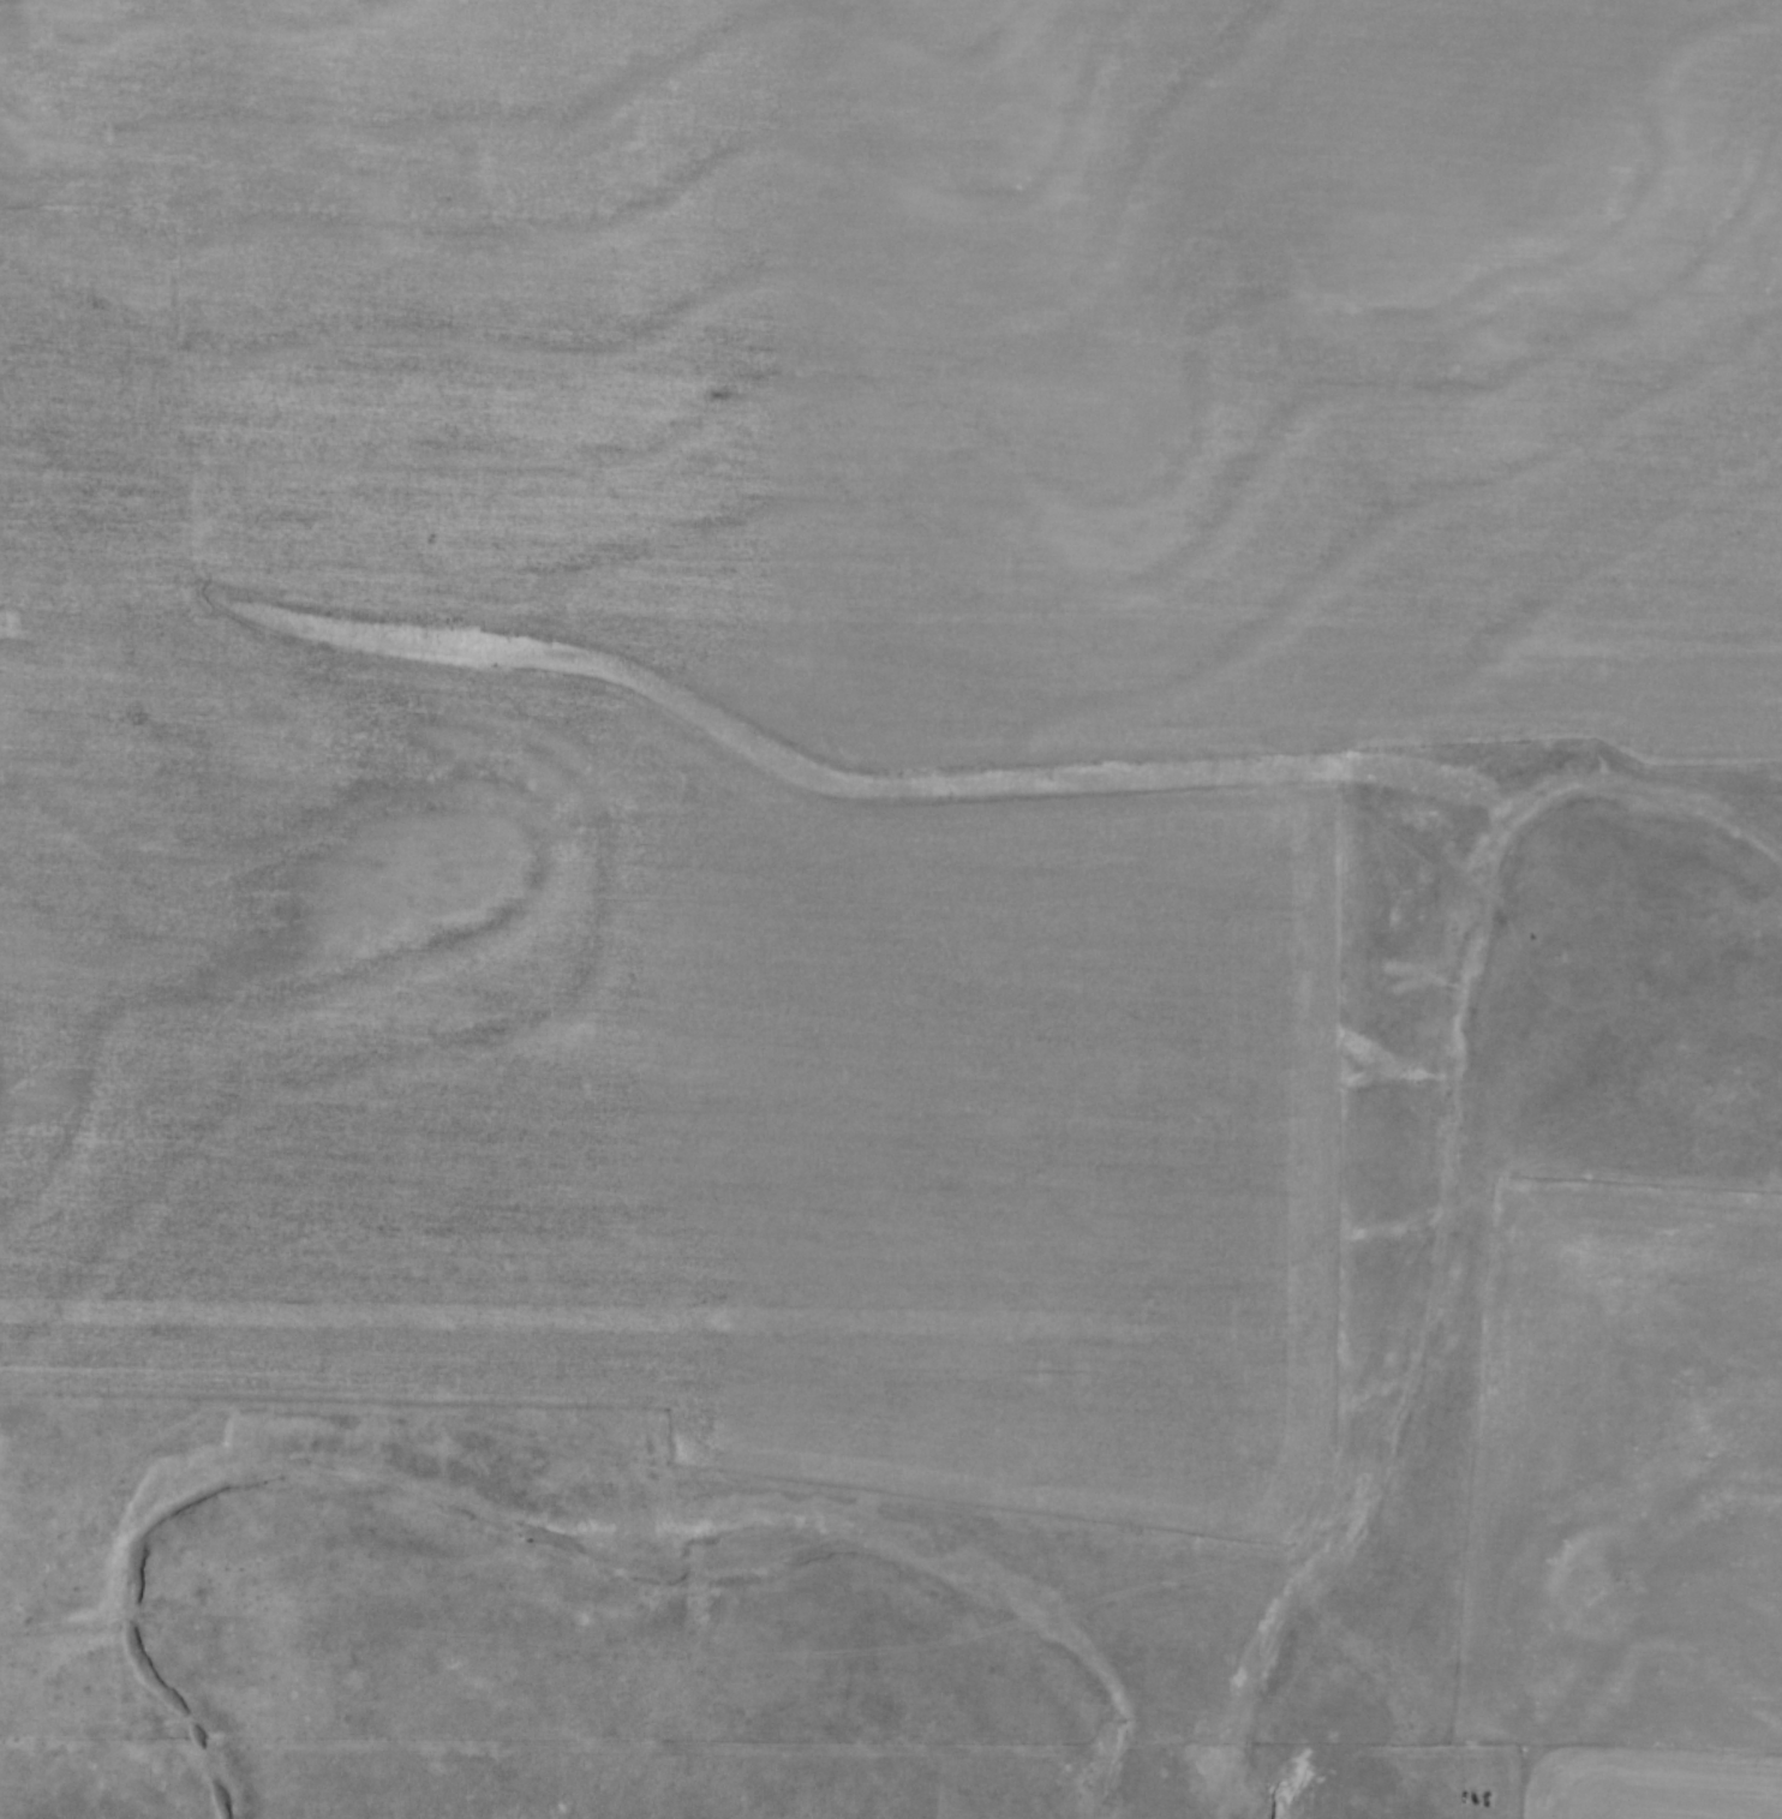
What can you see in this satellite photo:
crop: (809, 670)
crop: (1628, 1498)

